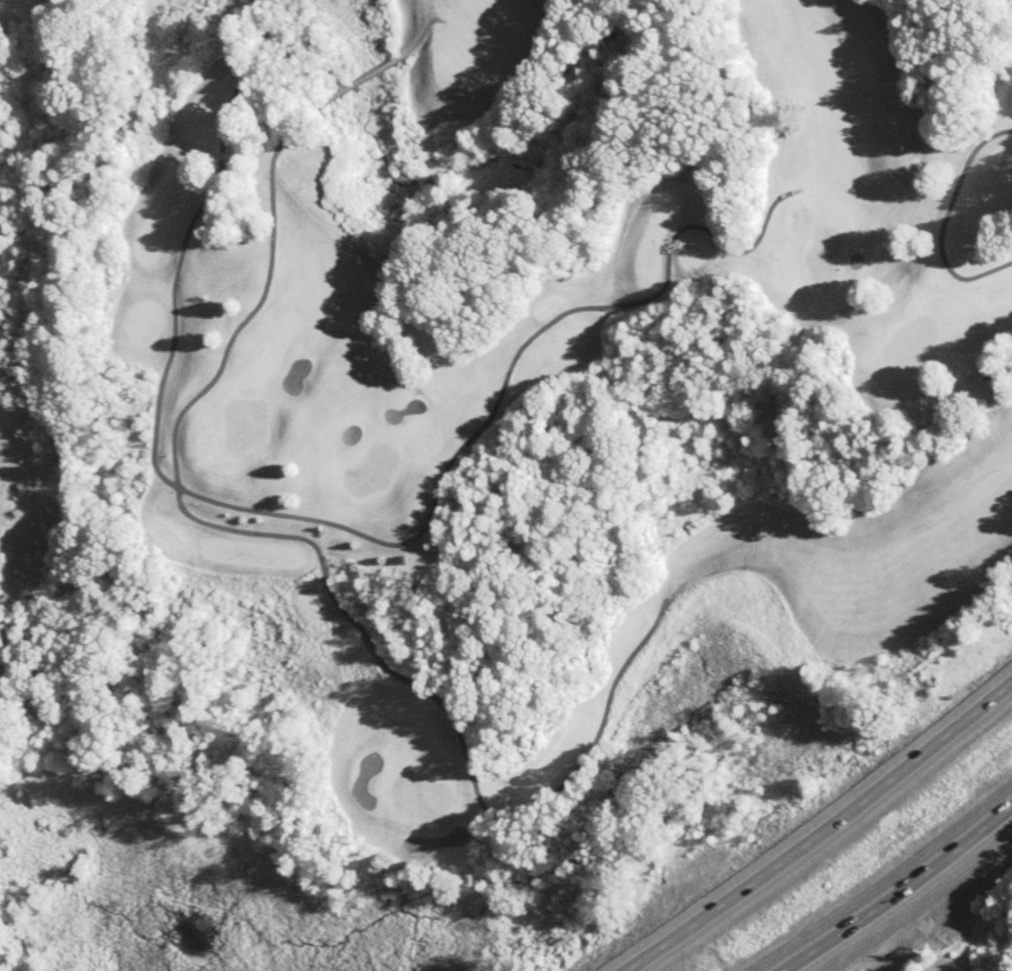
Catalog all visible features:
road: (943, 216)
park: (538, 407)
road: (342, 524)
road: (392, 673)
road: (826, 835)
road: (904, 891)

